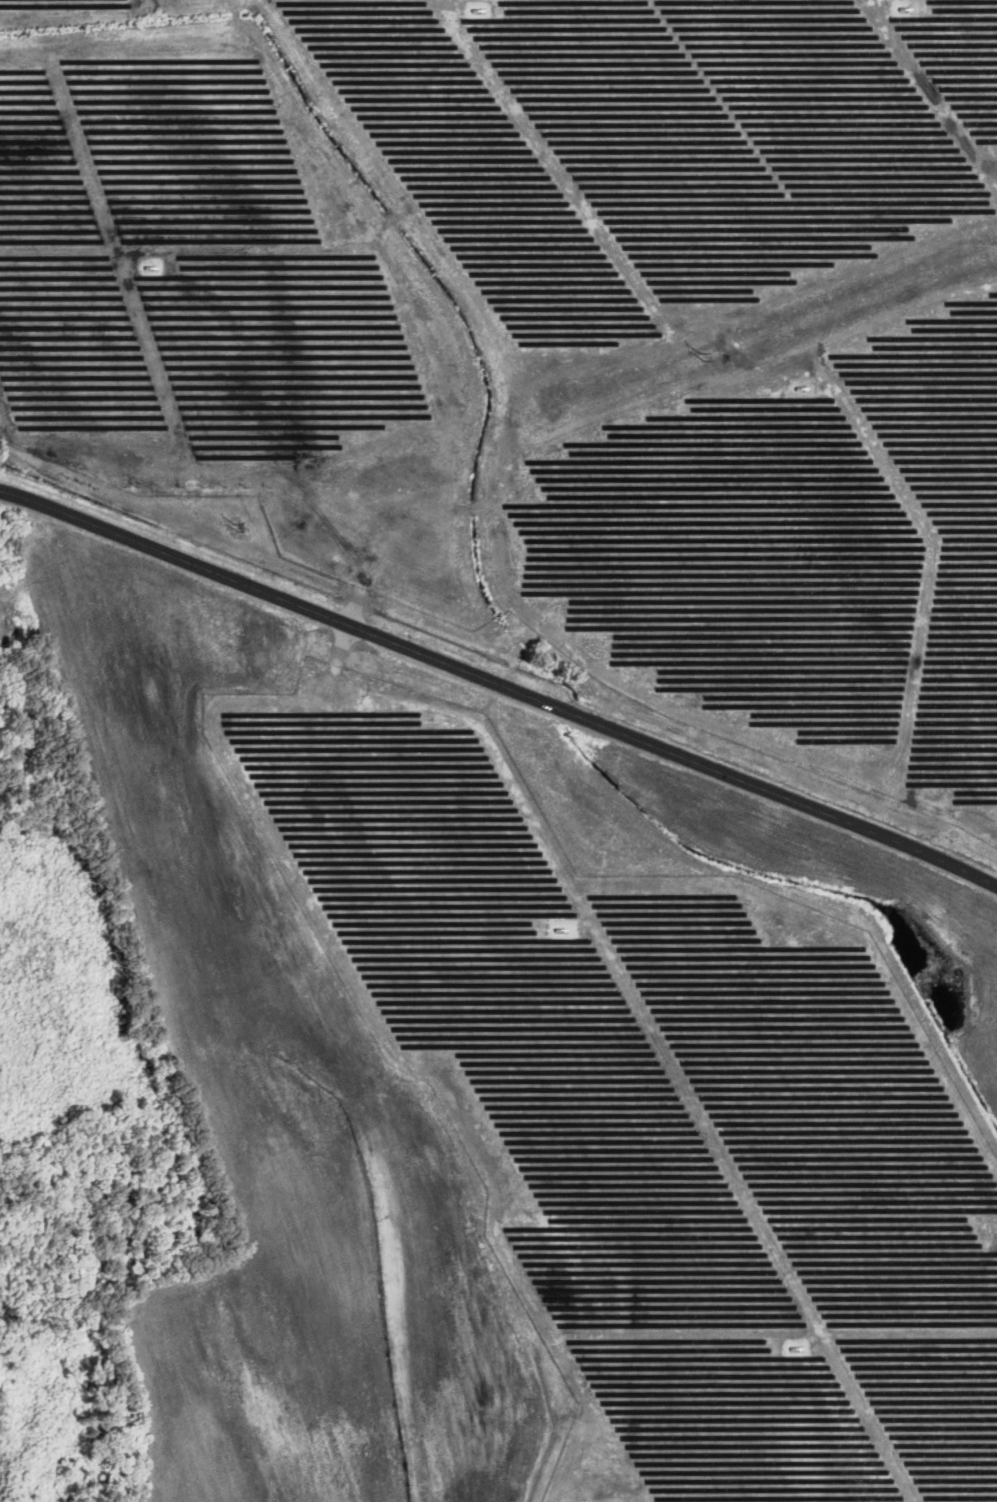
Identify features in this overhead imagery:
solar farm: (552, 330)
power tower: (703, 356)
power tower: (236, 527)
road: (499, 685)
solar farm: (655, 1116)

